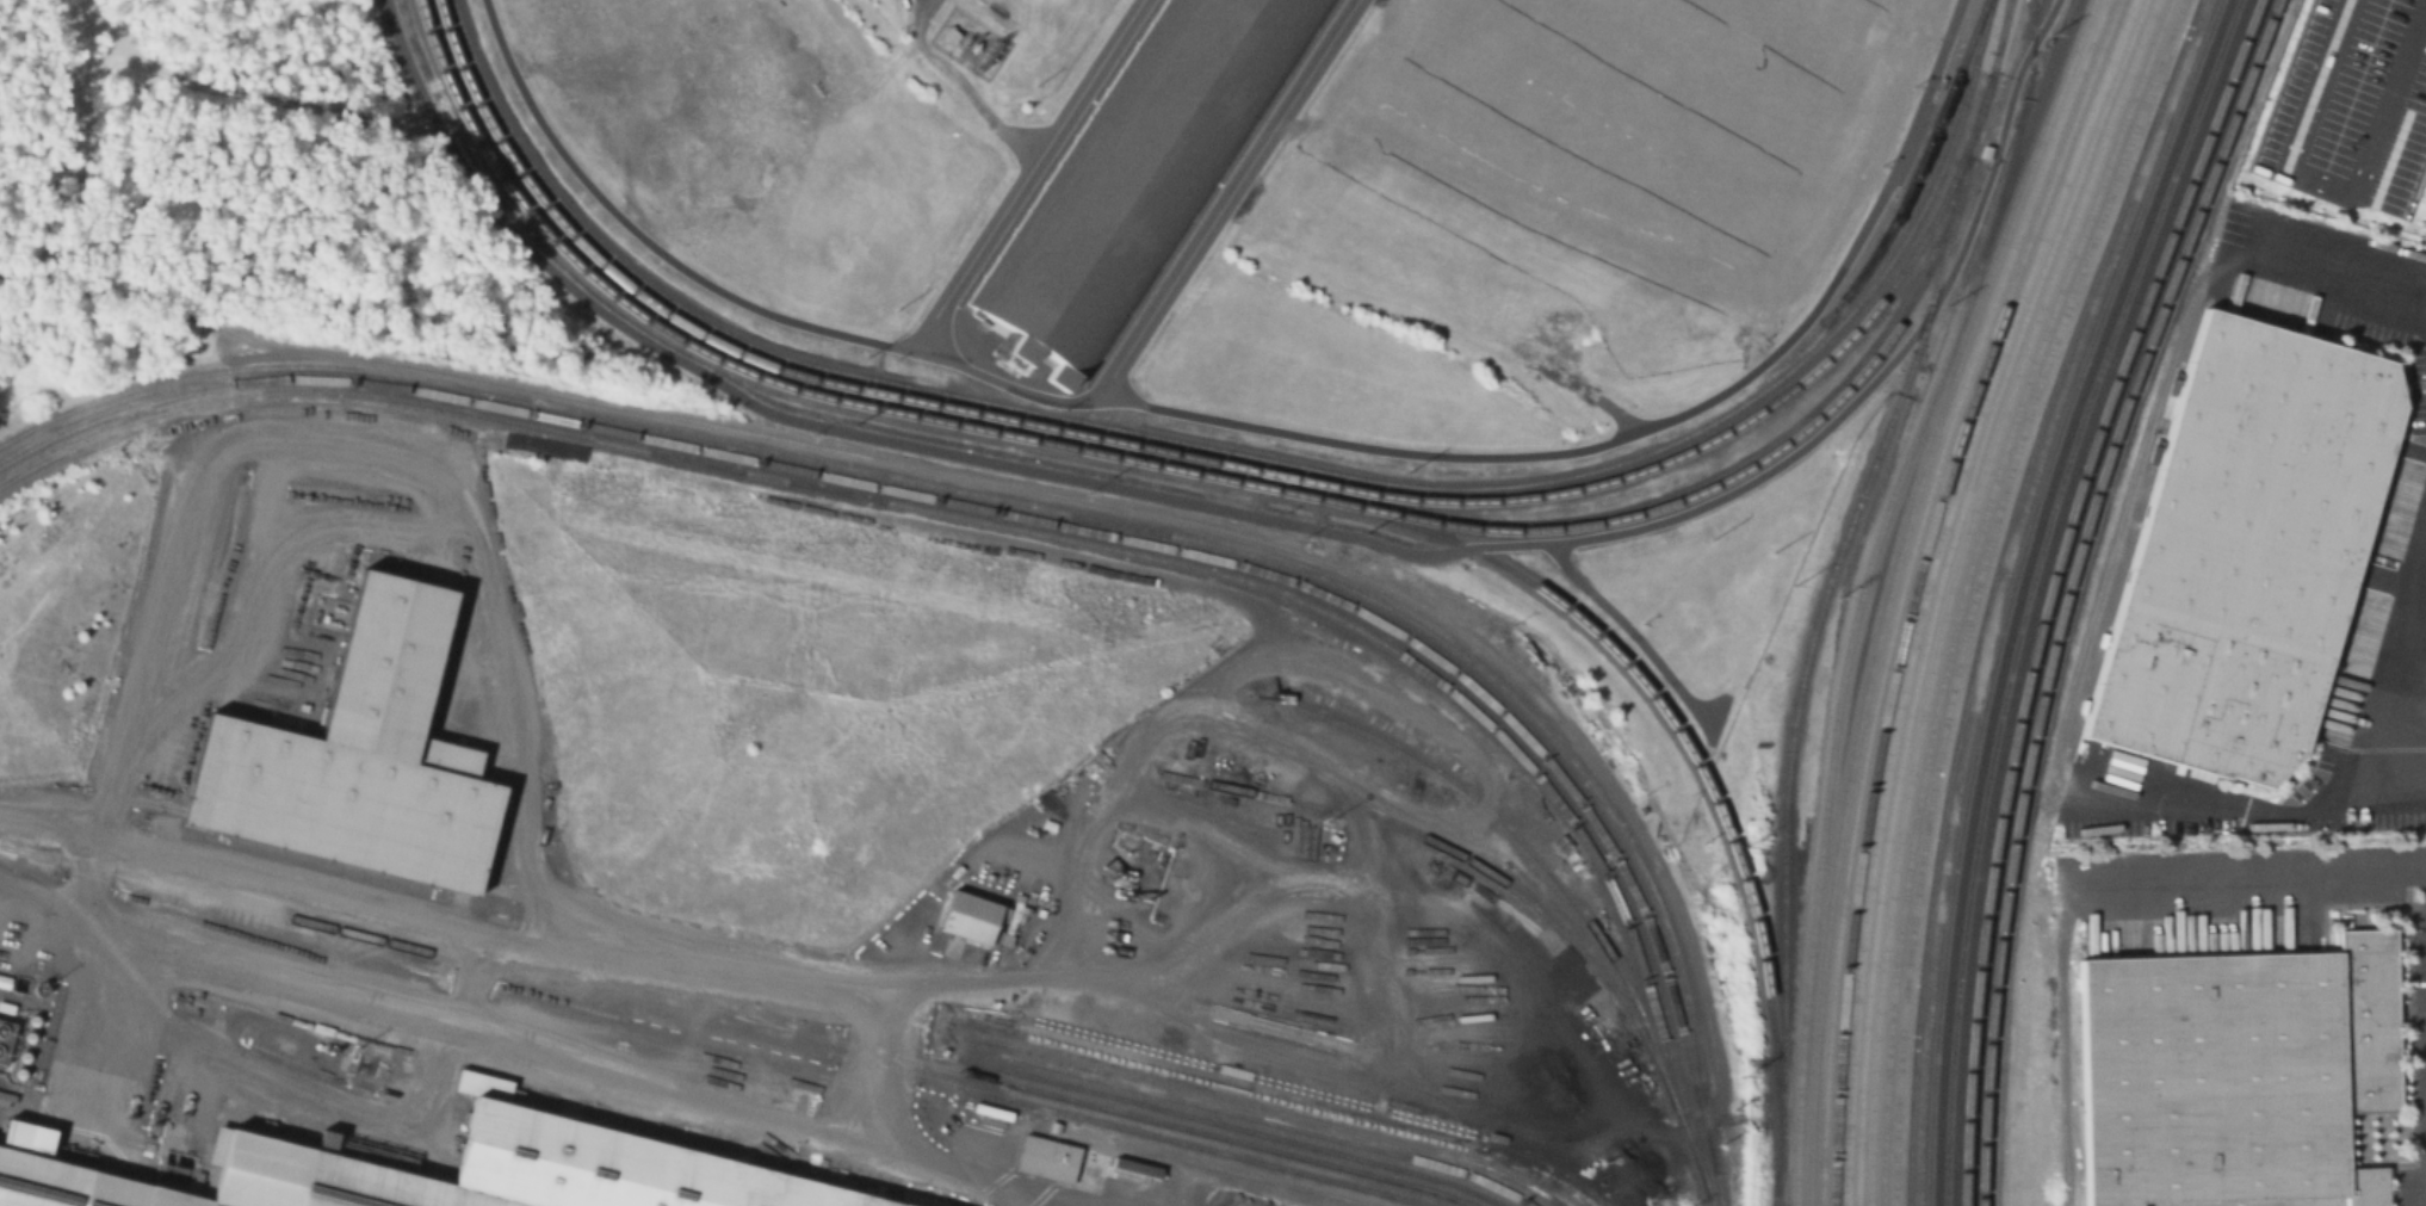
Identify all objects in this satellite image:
railway: (2000, 27)
building: (947, 38)
power substation: (967, 42)
road: (2378, 97)
road: (986, 112)
railway: (2018, 131)
railway: (1920, 169)
building: (1137, 171)
road: (1027, 178)
road: (1225, 202)
road: (2347, 268)
road: (1258, 433)
railway: (663, 446)
railway: (1258, 457)
railway: (1189, 474)
railway: (1260, 474)
railway: (873, 490)
railway: (1029, 508)
railway: (1887, 514)
road: (1264, 517)
railway: (1033, 521)
railway: (1082, 526)
railway: (1022, 528)
road: (396, 531)
building: (2244, 550)
railway: (1890, 588)
railway: (1904, 588)
railway: (1917, 588)
railway: (1927, 588)
railway: (1941, 588)
railway: (1954, 588)
railway: (1978, 588)
railway: (1989, 588)
railway: (2011, 588)
railway: (2030, 588)
railway: (2048, 588)
railway: (2066, 588)
railway: (1968, 589)
railway: (1825, 605)
road: (2418, 656)
railway: (1695, 755)
building: (357, 761)
road: (2249, 810)
road: (48, 824)
railway: (1471, 864)
road: (2254, 873)
railway: (1555, 882)
building: (971, 916)
railway: (290, 932)
road: (598, 955)
road: (95, 959)
road: (992, 979)
railway: (732, 1019)
railway: (707, 1026)
railway: (184, 1041)
road: (536, 1049)
building: (2234, 1075)
railway: (1292, 1097)
railway: (1270, 1111)
railway: (1252, 1120)
railway: (1219, 1125)
railway: (1797, 1130)
building: (1047, 1161)
building: (608, 1167)
railway: (1238, 1174)
railway: (1781, 1181)
road: (1081, 1202)

